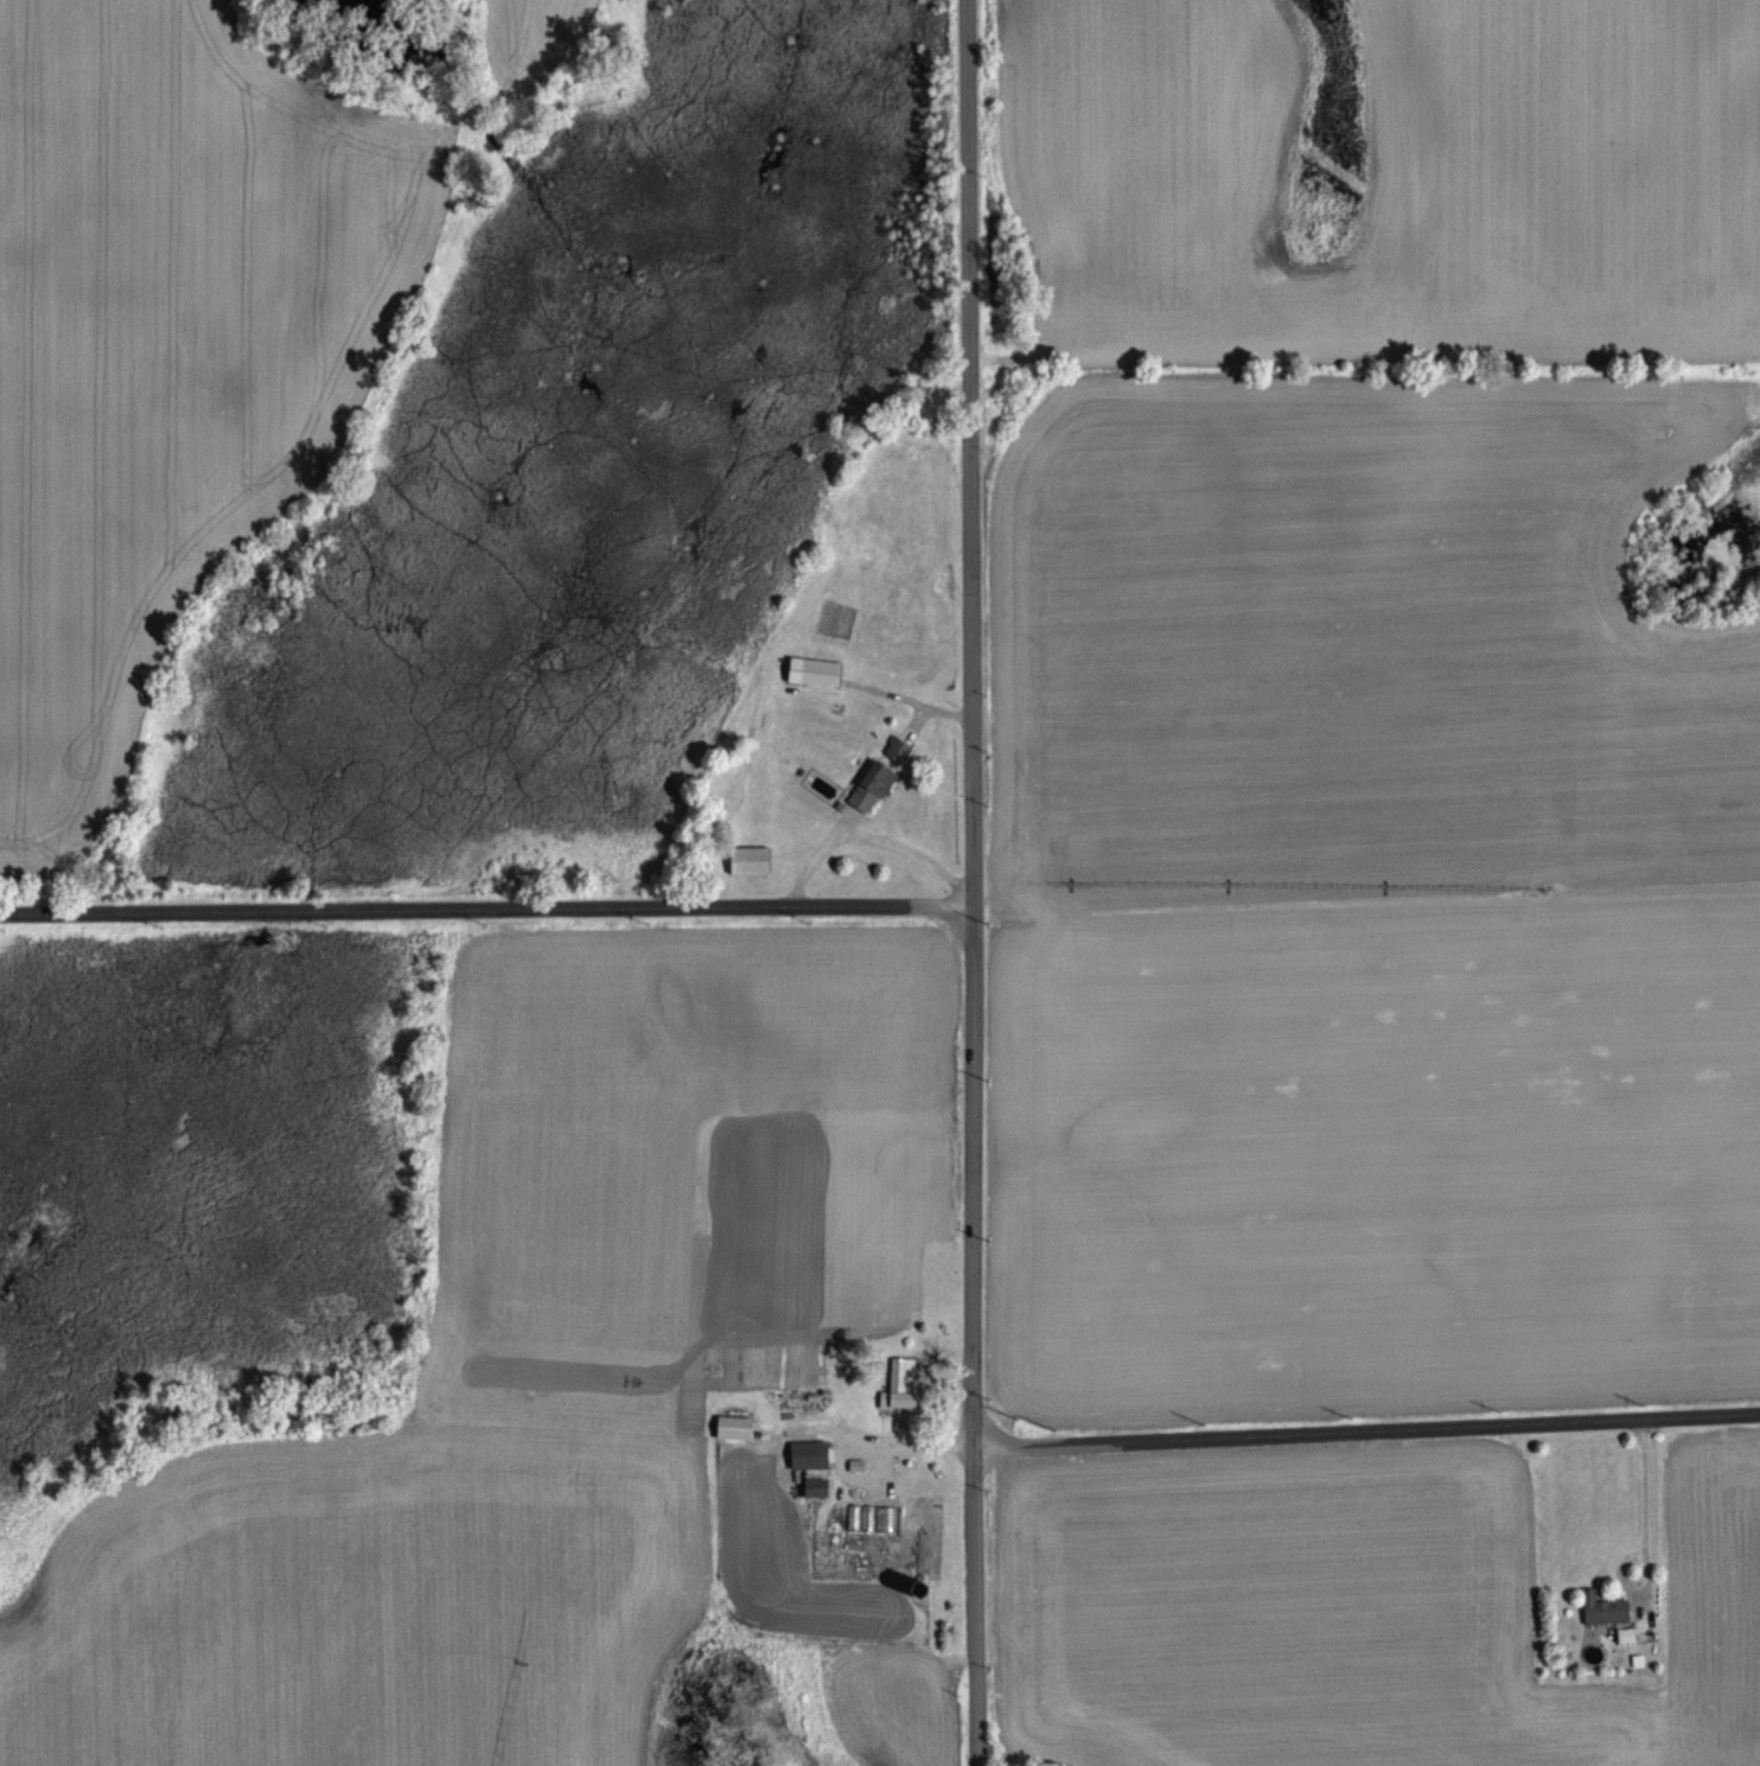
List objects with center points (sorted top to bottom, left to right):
building: (812, 672)
building: (897, 752)
building: (871, 788)
building: (748, 861)
road: (970, 882)
road: (485, 906)
building: (901, 1383)
building: (733, 1427)
road: (1369, 1430)
building: (811, 1466)
building: (1603, 1608)

